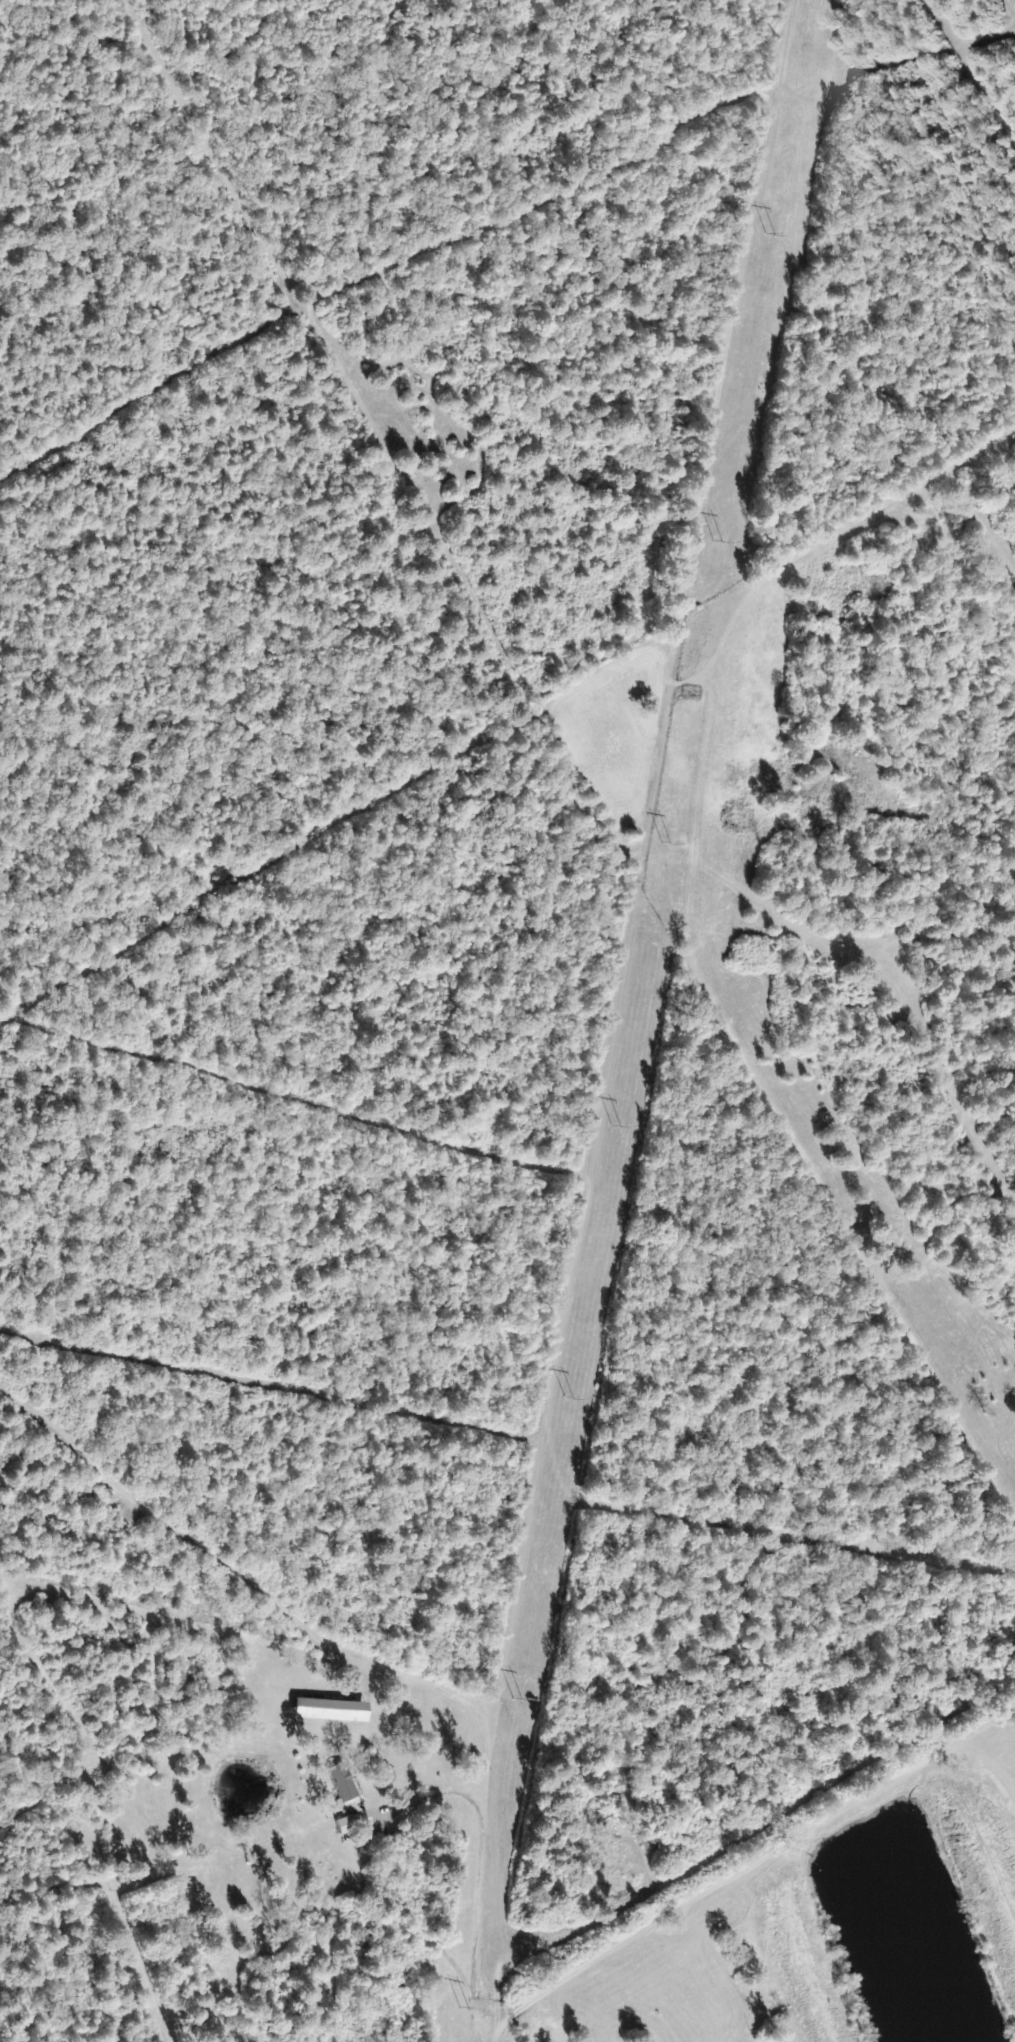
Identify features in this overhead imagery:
power tower: (767, 236)
power tower: (714, 544)
power tower: (666, 842)
power tower: (616, 1129)
power tower: (566, 1402)
power tower: (517, 1701)
building: (330, 1710)
building: (342, 1783)
building: (353, 1822)
power tower: (464, 2011)

